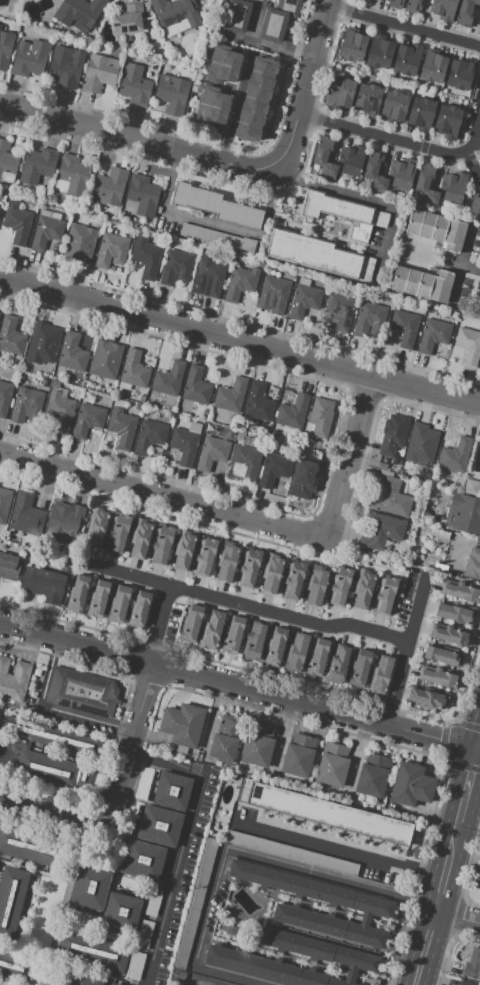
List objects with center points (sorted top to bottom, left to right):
building: (242, 0)
building: (365, 0)
building: (395, 3)
building: (413, 6)
building: (444, 9)
building: (465, 12)
building: (78, 14)
building: (232, 14)
building: (175, 15)
building: (128, 18)
building: (278, 19)
building: (99, 23)
building: (479, 24)
building: (0, 25)
road: (402, 25)
building: (0, 27)
building: (352, 45)
building: (5, 48)
building: (380, 52)
building: (225, 56)
building: (30, 58)
building: (407, 59)
road: (310, 63)
building: (264, 65)
building: (66, 66)
building: (432, 67)
building: (100, 73)
building: (221, 73)
building: (459, 74)
building: (261, 79)
building: (134, 85)
building: (257, 92)
building: (340, 92)
building: (172, 95)
building: (214, 98)
building: (367, 99)
building: (254, 105)
building: (393, 106)
road: (234, 107)
building: (420, 113)
building: (209, 115)
building: (250, 118)
building: (447, 121)
building: (247, 132)
road: (392, 141)
road: (473, 142)
road: (158, 146)
building: (324, 157)
building: (351, 160)
building: (7, 162)
building: (38, 165)
building: (374, 172)
building: (402, 173)
building: (72, 176)
building: (426, 182)
building: (109, 187)
building: (452, 187)
building: (141, 196)
road: (354, 196)
building: (216, 205)
building: (475, 206)
building: (341, 213)
building: (17, 222)
building: (47, 230)
building: (437, 230)
building: (217, 238)
building: (79, 243)
building: (111, 250)
building: (319, 256)
building: (146, 257)
building: (176, 267)
road: (470, 271)
building: (211, 276)
building: (240, 283)
building: (422, 284)
building: (273, 295)
building: (304, 299)
building: (340, 310)
building: (368, 317)
building: (404, 327)
building: (433, 335)
building: (11, 336)
road: (239, 341)
building: (468, 345)
building: (44, 346)
building: (72, 352)
building: (105, 359)
building: (134, 370)
building: (168, 379)
building: (45, 382)
building: (196, 386)
building: (231, 395)
building: (5, 397)
building: (258, 402)
building: (25, 403)
building: (60, 410)
building: (292, 412)
building: (319, 418)
building: (88, 419)
building: (122, 427)
building: (274, 432)
building: (230, 433)
building: (150, 436)
building: (239, 436)
building: (392, 436)
building: (186, 443)
building: (319, 445)
building: (419, 445)
building: (157, 452)
building: (211, 452)
building: (455, 455)
road: (353, 459)
building: (244, 464)
building: (382, 466)
building: (395, 468)
building: (273, 470)
building: (386, 473)
building: (473, 476)
building: (304, 480)
building: (471, 488)
road: (164, 495)
building: (389, 497)
building: (4, 503)
building: (464, 515)
building: (25, 516)
building: (66, 523)
building: (98, 528)
building: (380, 530)
building: (439, 533)
building: (118, 534)
building: (139, 539)
building: (162, 545)
building: (184, 551)
building: (205, 556)
building: (227, 560)
building: (67, 564)
building: (472, 564)
building: (9, 566)
building: (249, 567)
building: (272, 573)
building: (293, 580)
building: (43, 584)
building: (340, 584)
building: (316, 585)
building: (462, 590)
building: (364, 591)
building: (349, 594)
building: (385, 594)
building: (78, 595)
building: (98, 599)
building: (119, 605)
building: (139, 610)
road: (419, 610)
building: (457, 613)
road: (291, 618)
building: (191, 625)
road: (160, 626)
building: (212, 630)
building: (449, 634)
building: (233, 635)
building: (253, 640)
building: (276, 647)
building: (296, 652)
building: (443, 655)
building: (317, 658)
building: (338, 664)
building: (359, 669)
building: (380, 677)
building: (439, 677)
building: (14, 679)
road: (239, 688)
building: (83, 692)
building: (428, 698)
road: (54, 709)
building: (183, 724)
building: (49, 736)
building: (226, 739)
building: (259, 744)
traffic signals: (479, 750)
building: (298, 755)
building: (333, 764)
building: (46, 768)
building: (373, 775)
building: (411, 785)
road: (470, 786)
building: (171, 791)
road: (118, 792)
building: (325, 812)
building: (160, 826)
road: (183, 841)
building: (32, 846)
road: (342, 848)
road: (239, 852)
building: (292, 853)
building: (143, 859)
building: (477, 874)
building: (90, 888)
building: (11, 897)
building: (153, 903)
building: (193, 903)
road: (439, 903)
building: (361, 904)
building: (122, 912)
road: (459, 917)
building: (143, 934)
building: (91, 951)
building: (344, 956)
building: (16, 964)
building: (136, 966)
building: (472, 966)
building: (85, 981)
road: (191, 983)
building: (113, 984)
building: (463, 984)

